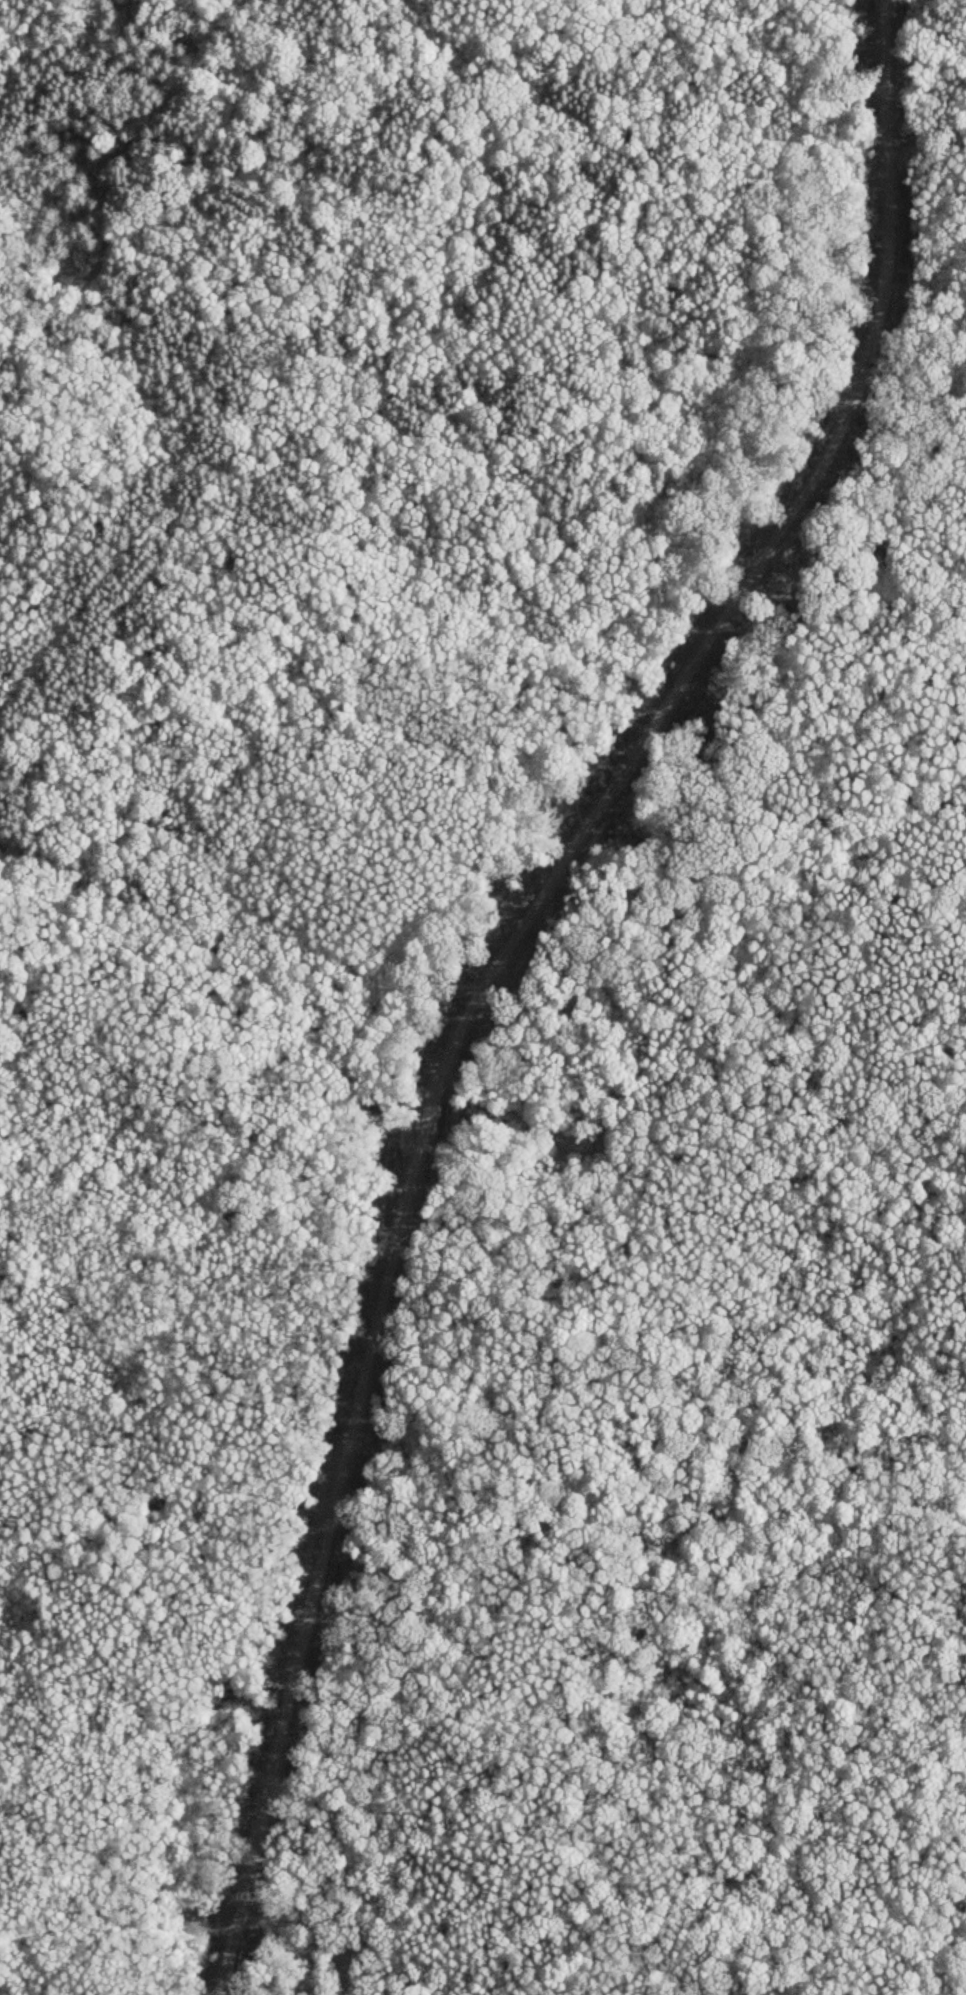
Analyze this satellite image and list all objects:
road: (220, 958)
road: (499, 963)
park: (483, 997)

